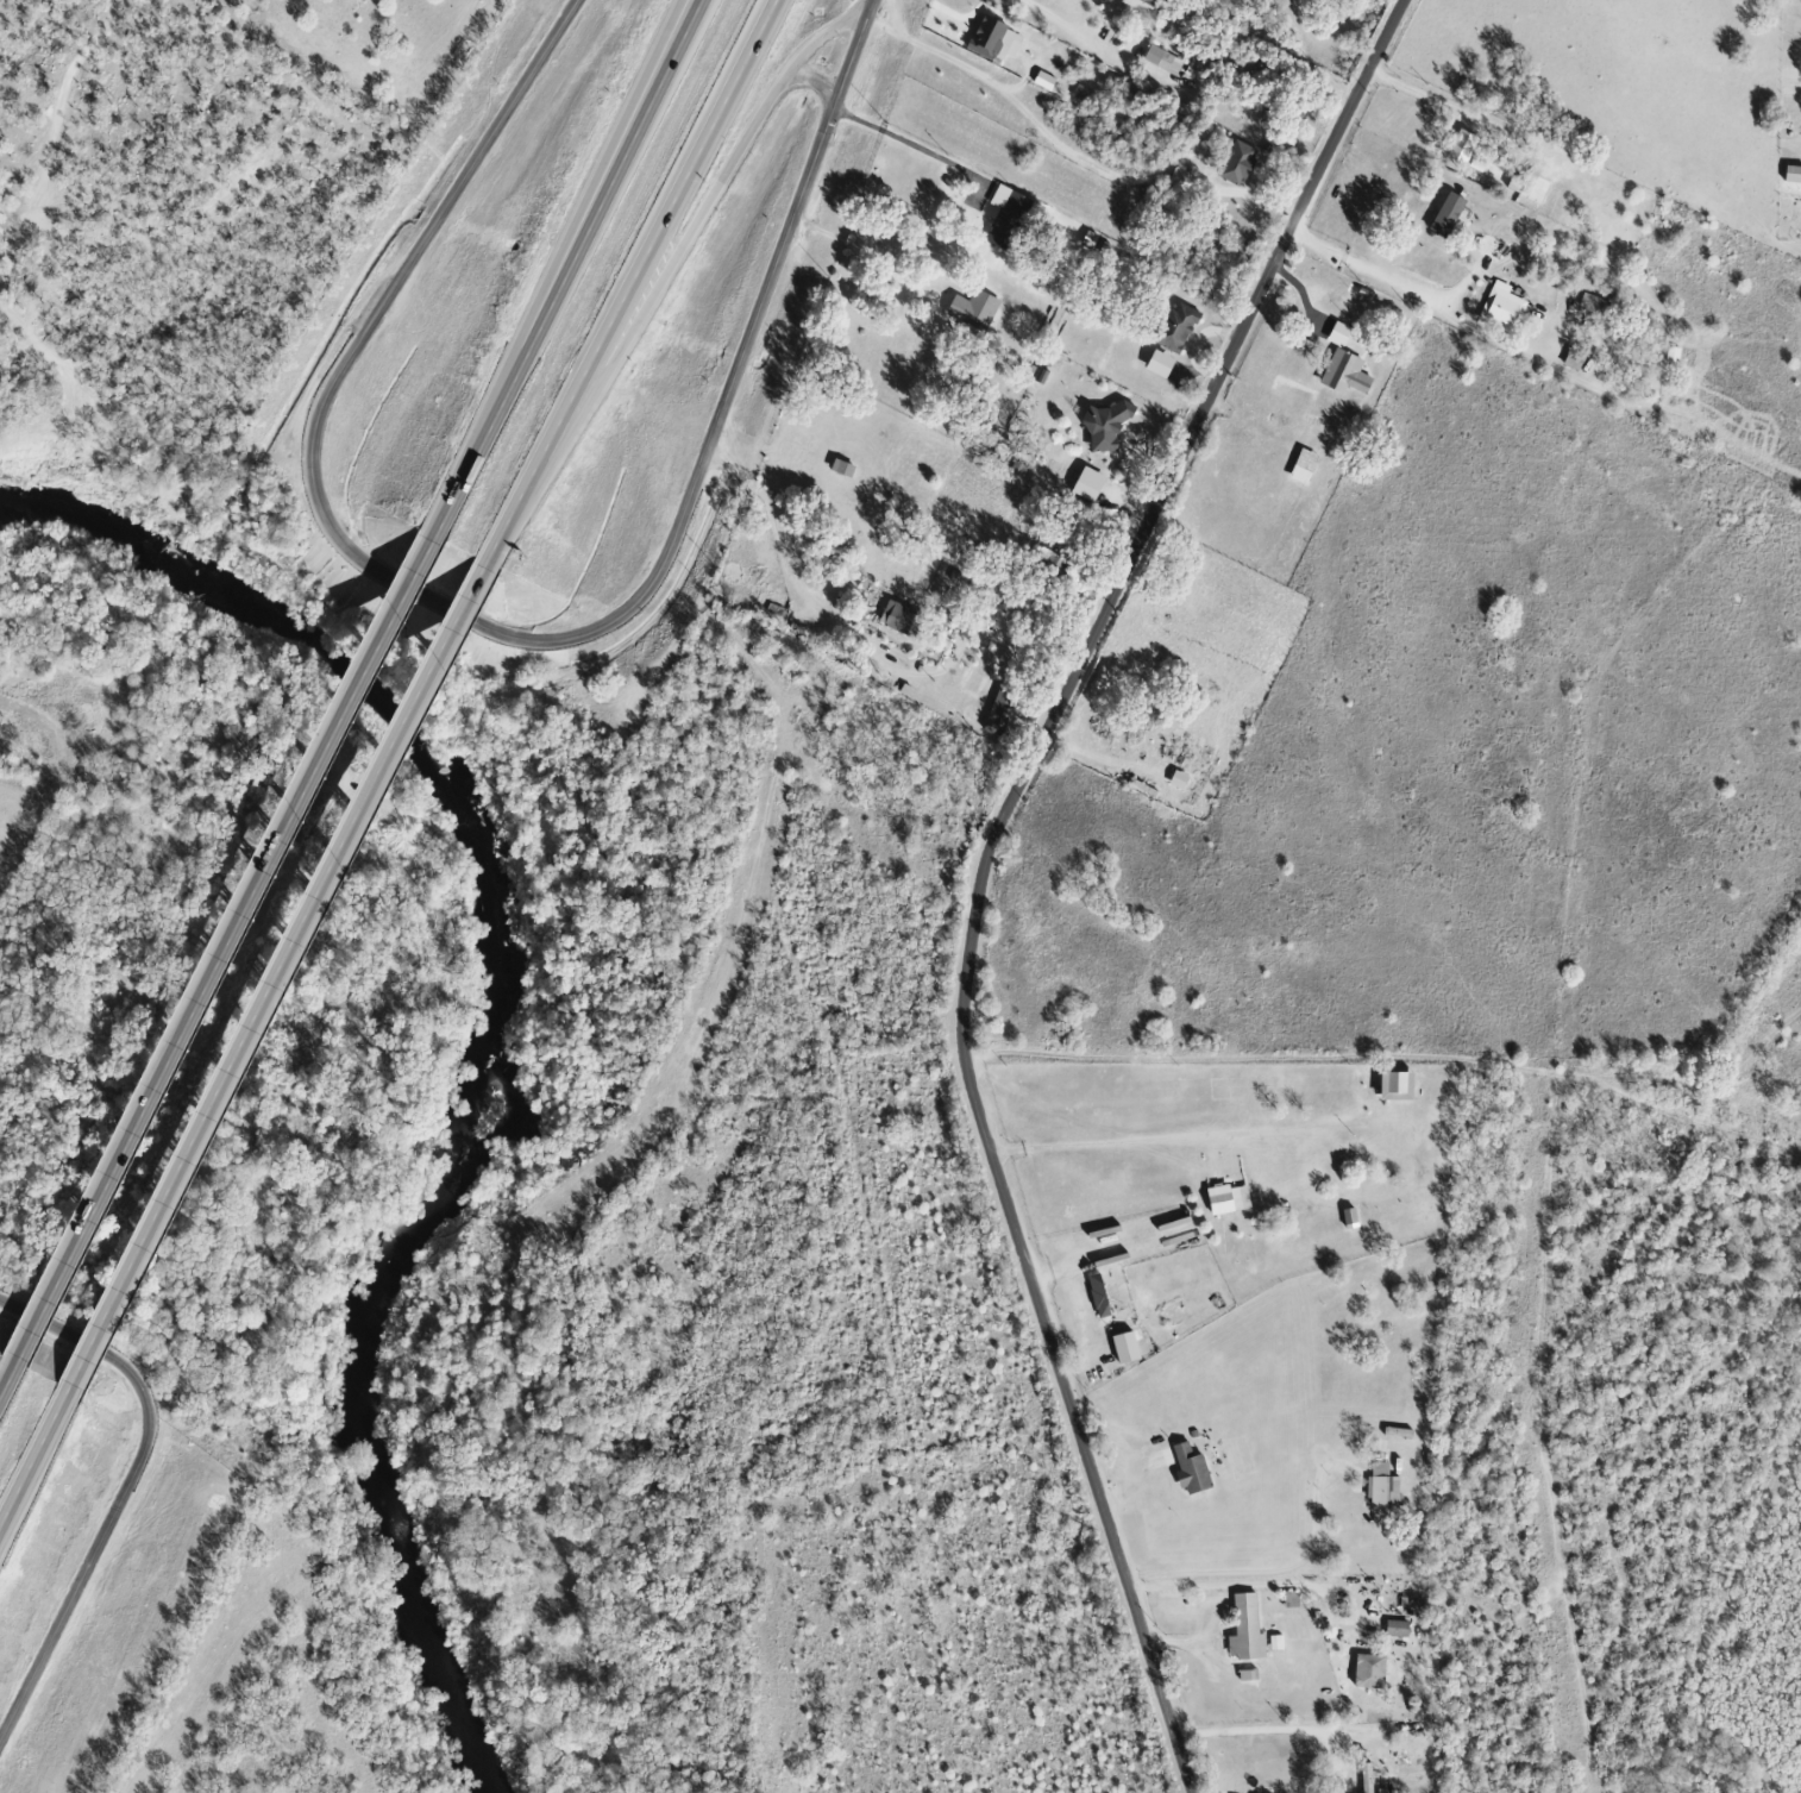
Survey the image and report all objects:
building: (1135, 4)
road: (1065, 25)
road: (824, 39)
building: (993, 39)
building: (1161, 59)
building: (1042, 80)
road: (817, 81)
road: (1433, 99)
road: (899, 139)
building: (1460, 145)
building: (1236, 162)
building: (1791, 174)
road: (598, 181)
building: (1444, 213)
building: (1005, 214)
road: (652, 243)
road: (862, 250)
road: (565, 264)
road: (1367, 265)
road: (661, 282)
building: (1500, 307)
building: (972, 308)
building: (1174, 327)
building: (1571, 359)
building: (1157, 363)
building: (1343, 372)
building: (1102, 425)
building: (1301, 465)
building: (1085, 483)
road: (509, 520)
building: (1046, 552)
building: (903, 620)
road: (497, 634)
road: (862, 644)
building: (998, 710)
road: (983, 865)
road: (227, 947)
road: (280, 972)
river: (488, 1041)
road: (1386, 1057)
building: (1392, 1085)
road: (1109, 1141)
building: (1225, 1198)
building: (1347, 1217)
building: (1096, 1294)
building: (1132, 1335)
road: (10, 1380)
road: (34, 1461)
building: (1188, 1468)
road: (125, 1490)
building: (1382, 1490)
road: (1282, 1568)
road: (1250, 1581)
building: (1289, 1599)
building: (1394, 1628)
building: (1244, 1629)
building: (1367, 1670)
road: (1487, 1719)
building: (1368, 1778)

